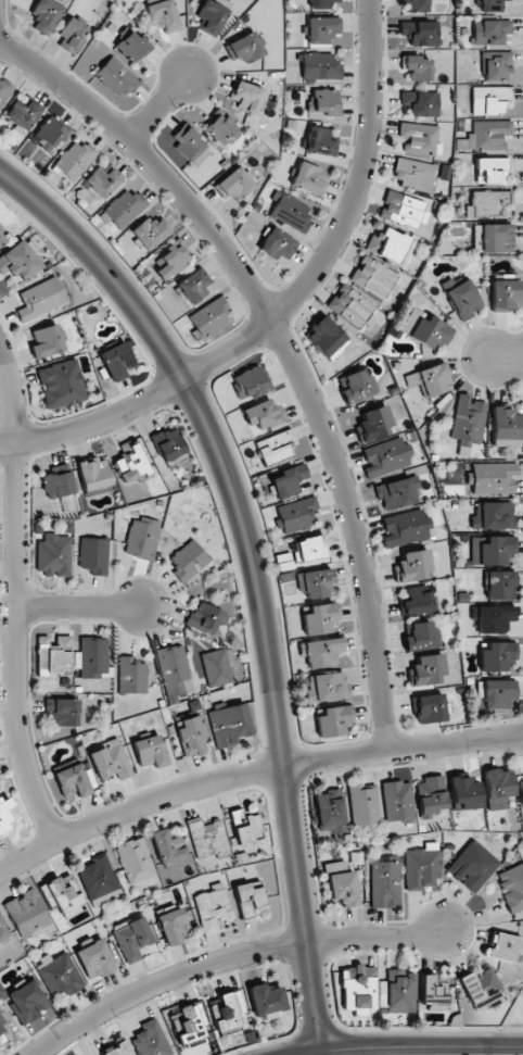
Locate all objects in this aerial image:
building: (320, 3)
building: (417, 5)
building: (489, 5)
building: (46, 15)
building: (163, 15)
building: (213, 15)
building: (321, 29)
building: (489, 32)
building: (421, 33)
building: (72, 35)
building: (133, 47)
building: (245, 48)
building: (320, 66)
building: (497, 66)
building: (418, 67)
building: (116, 76)
building: (4, 90)
building: (246, 97)
building: (488, 99)
building: (324, 102)
building: (421, 103)
road: (156, 109)
building: (23, 114)
building: (221, 129)
building: (50, 133)
building: (487, 134)
building: (419, 138)
building: (320, 140)
building: (187, 142)
building: (74, 160)
building: (492, 171)
building: (413, 175)
building: (308, 179)
building: (102, 181)
building: (233, 185)
building: (487, 204)
building: (124, 209)
building: (403, 210)
building: (150, 233)
building: (2, 238)
building: (492, 238)
building: (277, 244)
building: (391, 246)
building: (173, 260)
building: (18, 262)
building: (375, 278)
building: (193, 285)
building: (505, 294)
building: (41, 298)
building: (461, 298)
road: (286, 303)
building: (352, 306)
building: (211, 317)
building: (430, 332)
building: (327, 338)
building: (47, 340)
road: (282, 346)
road: (508, 357)
building: (116, 361)
building: (429, 380)
building: (248, 382)
building: (61, 384)
building: (356, 386)
building: (263, 415)
building: (468, 423)
building: (374, 424)
building: (505, 427)
building: (170, 447)
building: (273, 448)
building: (385, 456)
building: (130, 463)
building: (93, 474)
building: (493, 478)
building: (288, 480)
building: (58, 485)
building: (397, 492)
building: (296, 514)
building: (494, 516)
building: (405, 527)
building: (141, 538)
building: (310, 549)
building: (490, 550)
building: (53, 555)
building: (93, 555)
building: (188, 560)
building: (412, 565)
road: (256, 572)
building: (316, 583)
building: (499, 585)
road: (13, 595)
building: (416, 602)
road: (77, 605)
building: (206, 617)
building: (319, 617)
building: (494, 618)
building: (421, 636)
building: (321, 653)
building: (496, 655)
building: (53, 656)
building: (93, 657)
building: (216, 667)
building: (425, 669)
building: (174, 671)
building: (131, 676)
building: (327, 687)
building: (498, 693)
building: (430, 708)
building: (62, 712)
building: (332, 720)
building: (229, 725)
building: (191, 736)
building: (150, 751)
building: (110, 759)
road: (252, 771)
building: (72, 782)
building: (497, 787)
building: (521, 791)
building: (464, 793)
building: (430, 795)
building: (397, 802)
building: (363, 804)
building: (329, 812)
building: (5, 814)
building: (245, 826)
building: (208, 839)
building: (167, 846)
building: (135, 861)
building: (472, 866)
building: (422, 867)
building: (99, 881)
building: (385, 883)
building: (342, 884)
building: (512, 887)
building: (62, 894)
building: (250, 901)
building: (213, 908)
building: (27, 914)
building: (174, 926)
building: (2, 932)
building: (133, 939)
building: (505, 946)
building: (95, 959)
road: (231, 960)
building: (59, 974)
building: (357, 987)
building: (481, 990)
building: (397, 991)
building: (432, 993)
building: (266, 1001)
building: (26, 1002)
building: (227, 1010)
building: (2, 1025)
building: (189, 1025)
building: (0, 1039)
building: (151, 1040)
road: (406, 1045)
building: (116, 1050)

